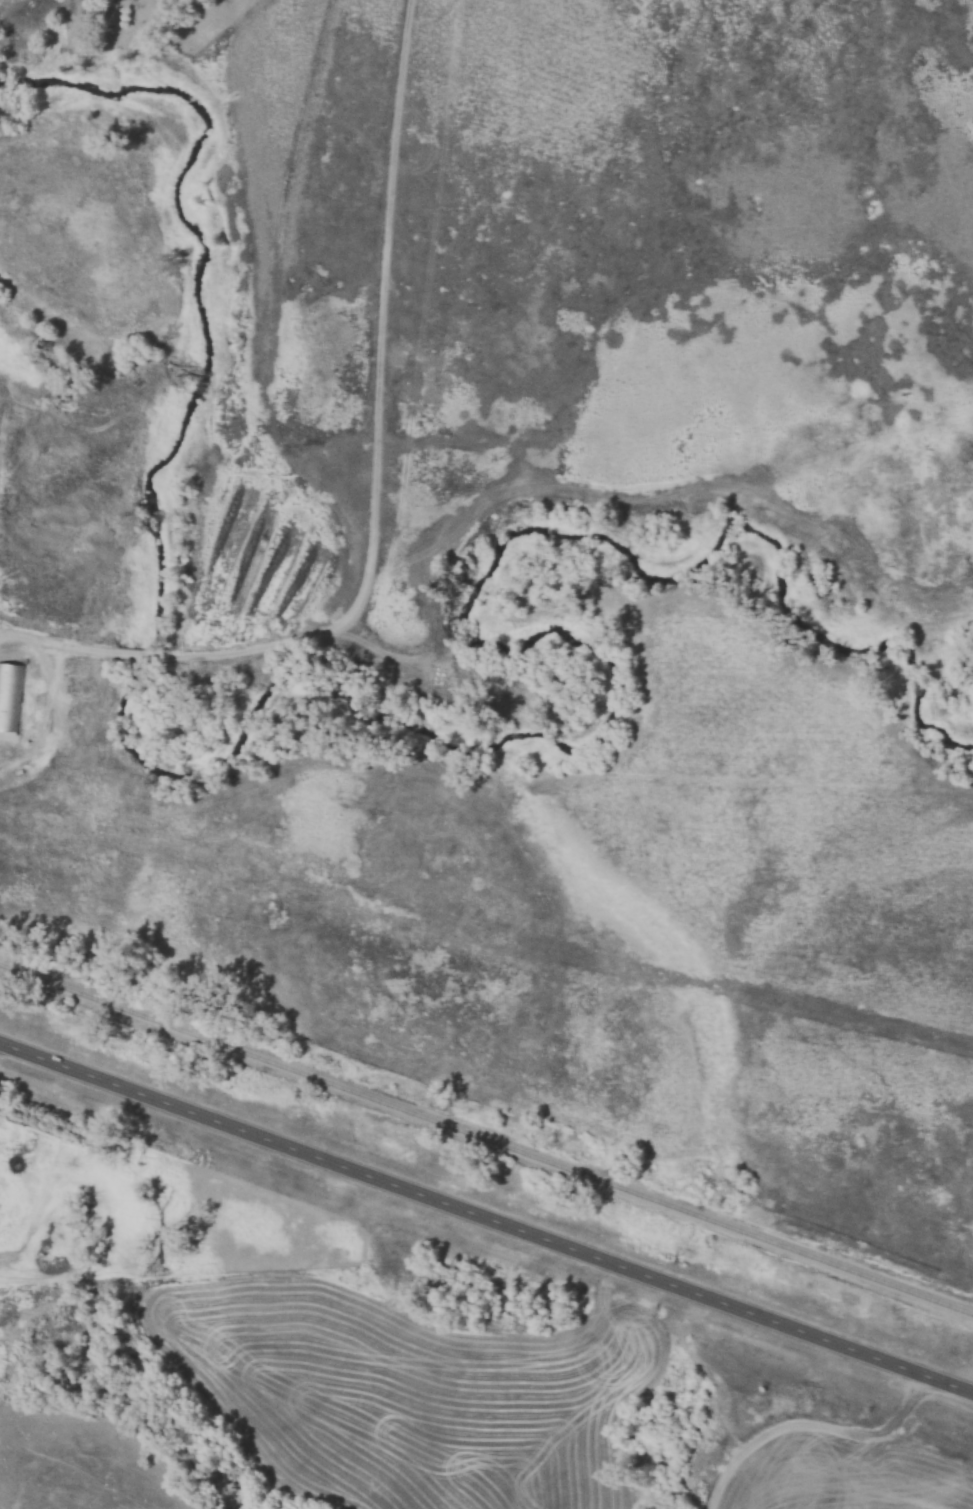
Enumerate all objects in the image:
building: (10, 698)
railway: (486, 1139)
road: (486, 1219)
crop: (405, 1393)
crop: (852, 1477)

